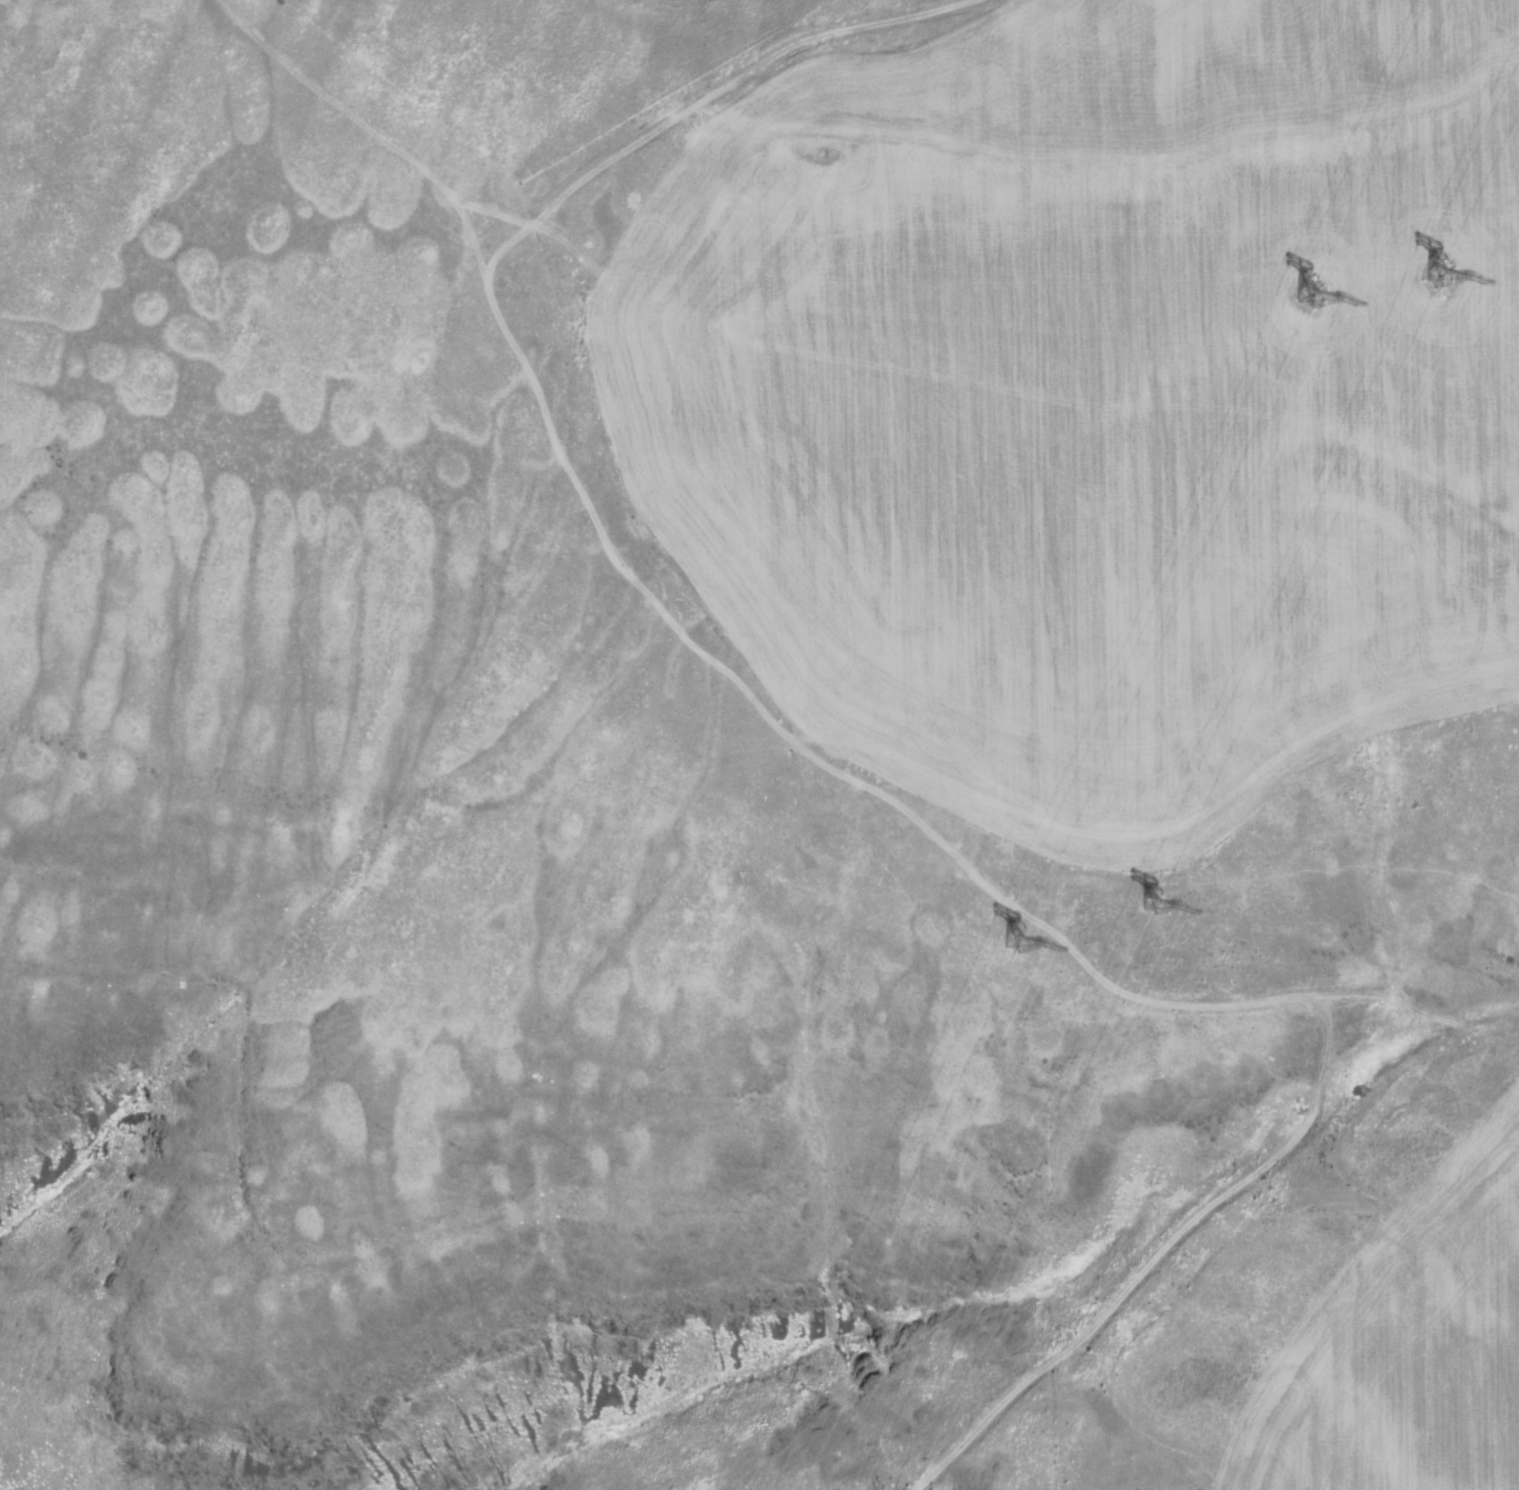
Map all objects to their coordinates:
power tower: (1442, 275)
power tower: (1318, 303)
power tower: (1166, 928)
power tower: (1025, 946)

